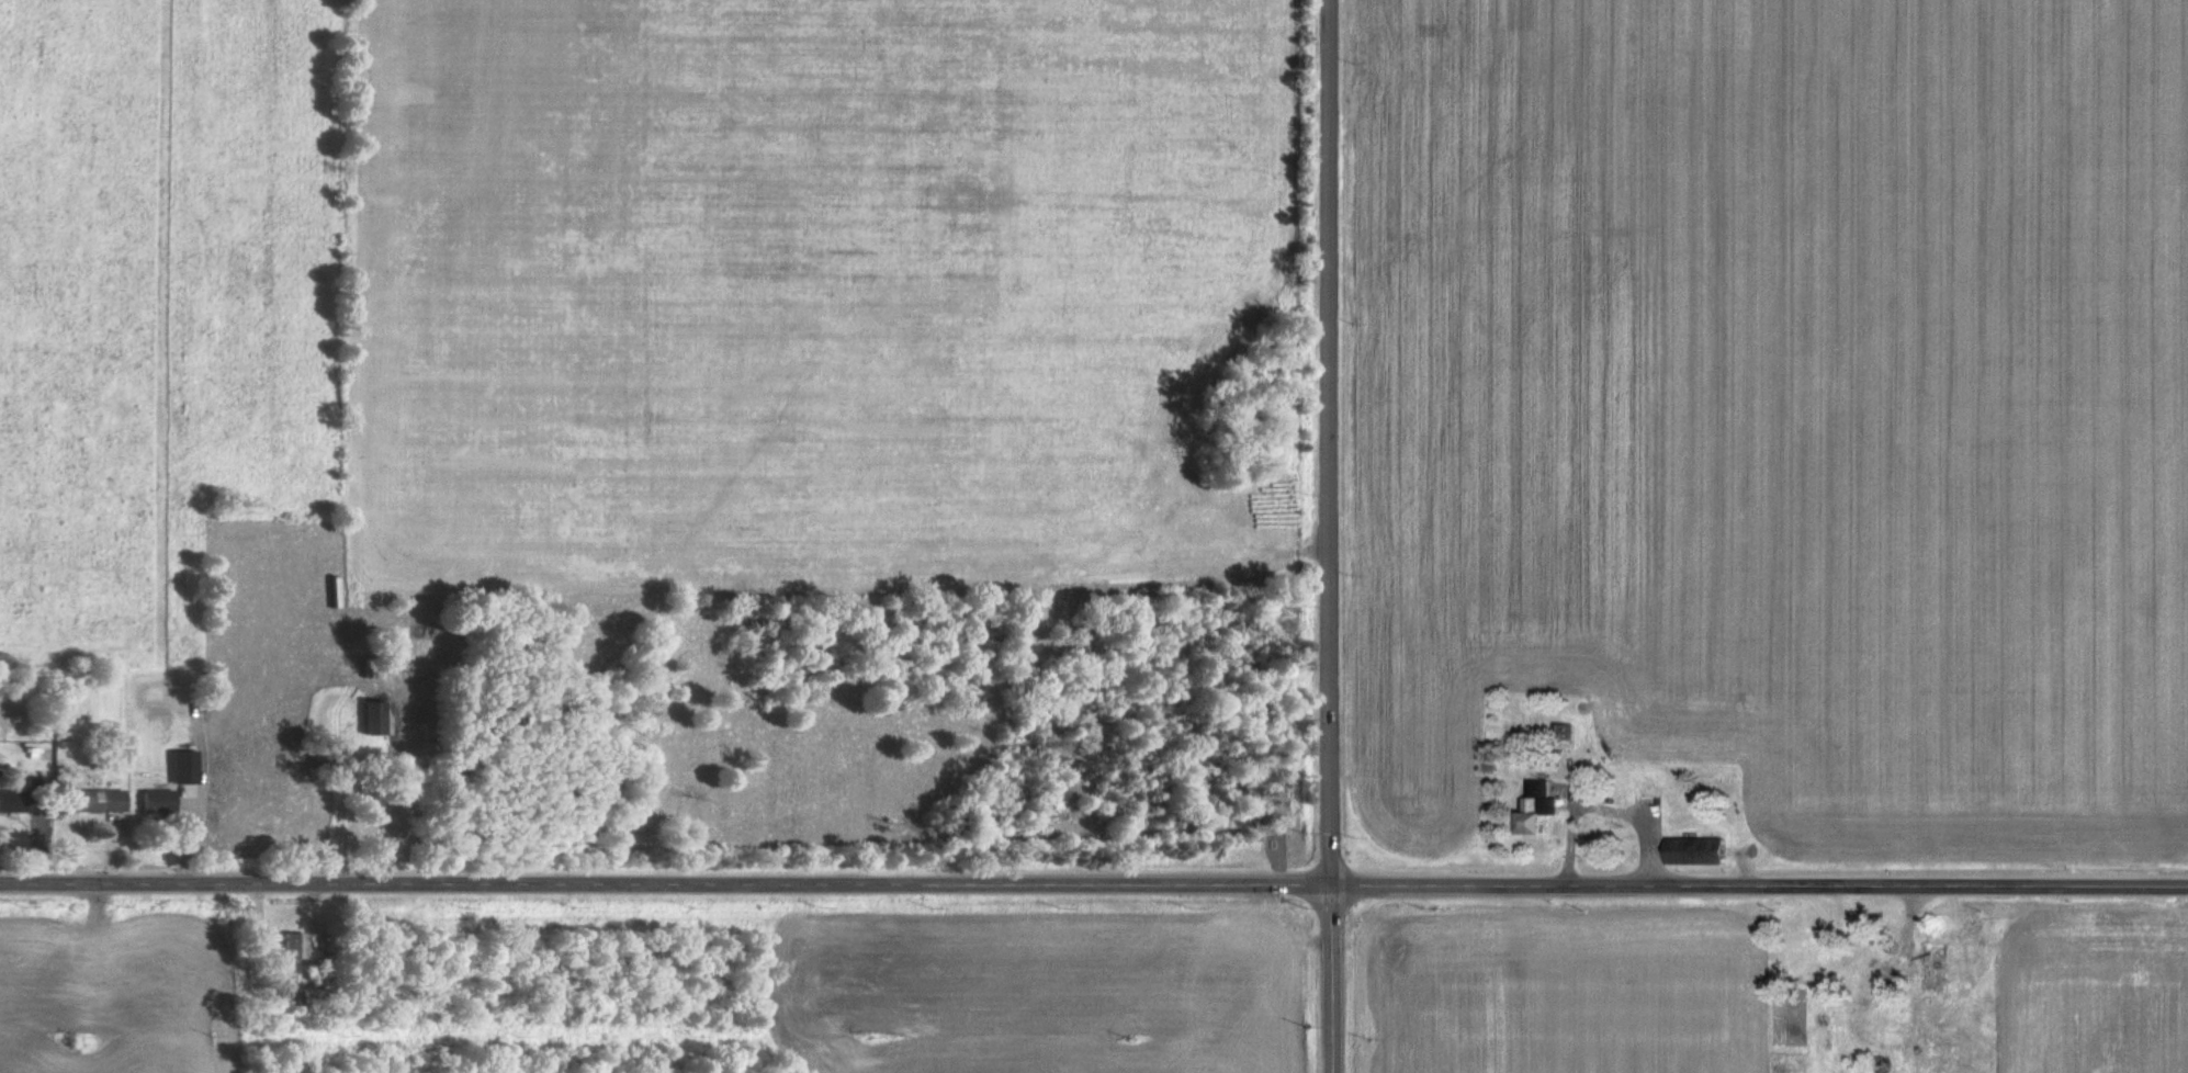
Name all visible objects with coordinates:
road: (1326, 536)
building: (371, 718)
building: (181, 766)
building: (10, 800)
building: (94, 800)
building: (154, 800)
building: (1537, 806)
building: (1696, 849)
road: (1093, 885)
building: (291, 945)

